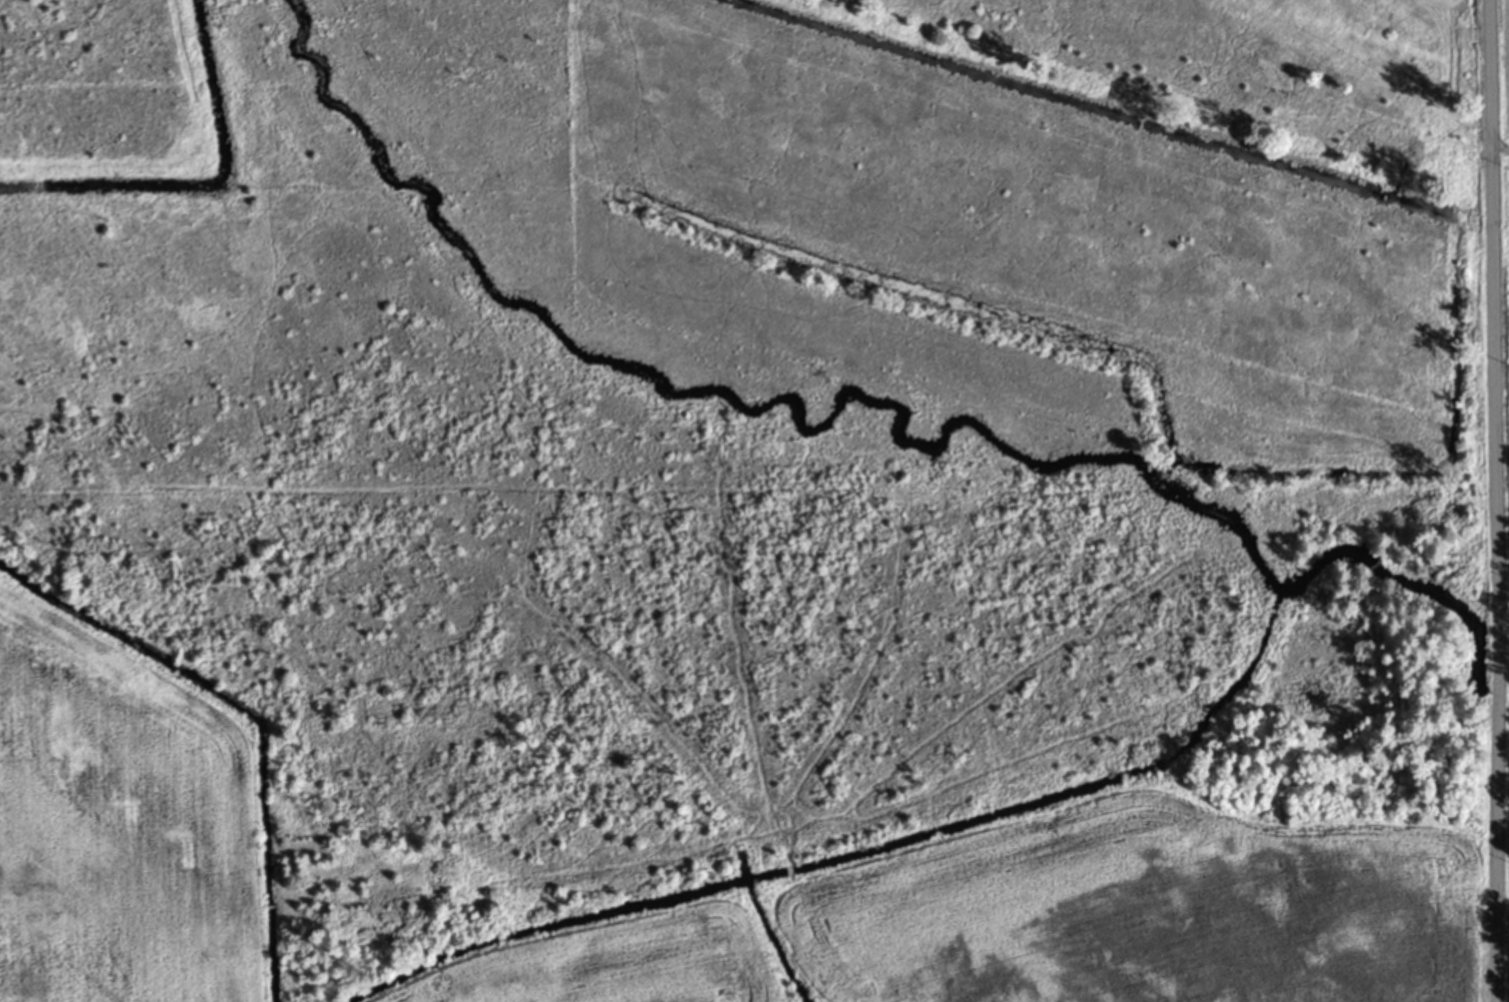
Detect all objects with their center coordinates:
road: (1503, 500)

